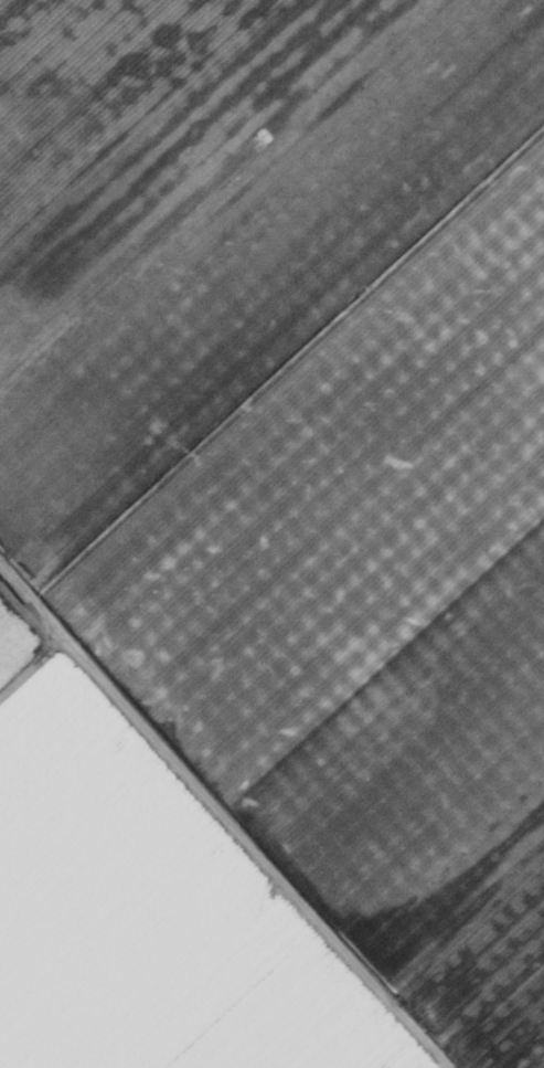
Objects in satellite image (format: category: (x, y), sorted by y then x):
crop: (271, 533)

